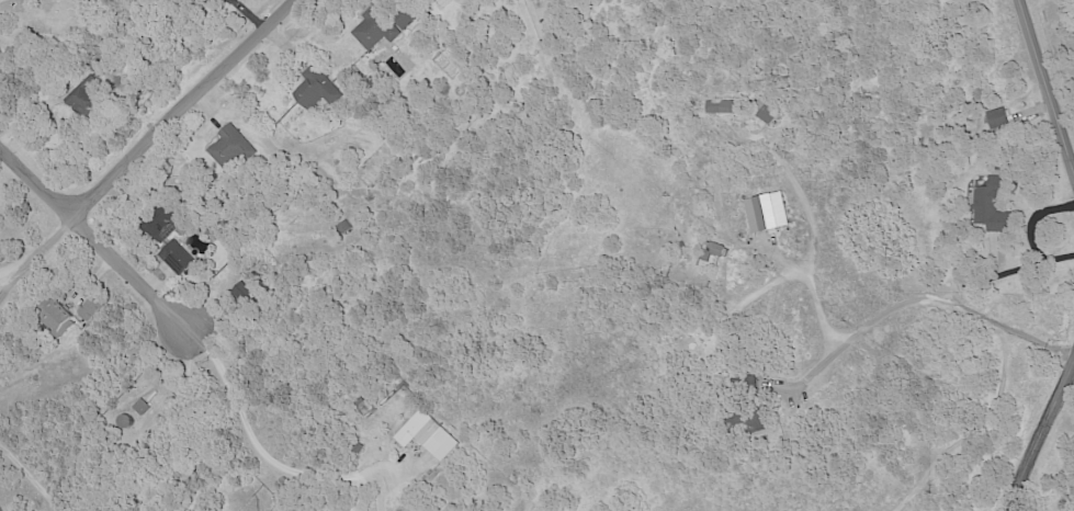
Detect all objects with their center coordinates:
building: (206, 1)
road: (4, 3)
building: (373, 30)
road: (1044, 89)
building: (315, 90)
building: (80, 102)
road: (45, 104)
building: (720, 107)
building: (762, 112)
building: (996, 120)
road: (173, 121)
building: (229, 148)
building: (988, 205)
building: (765, 213)
building: (162, 227)
road: (1029, 231)
road: (810, 232)
road: (105, 246)
building: (174, 258)
road: (26, 266)
building: (246, 292)
road: (922, 298)
building: (91, 311)
building: (57, 320)
building: (749, 422)
building: (426, 435)
road: (1045, 442)
road: (268, 464)
road: (31, 477)

